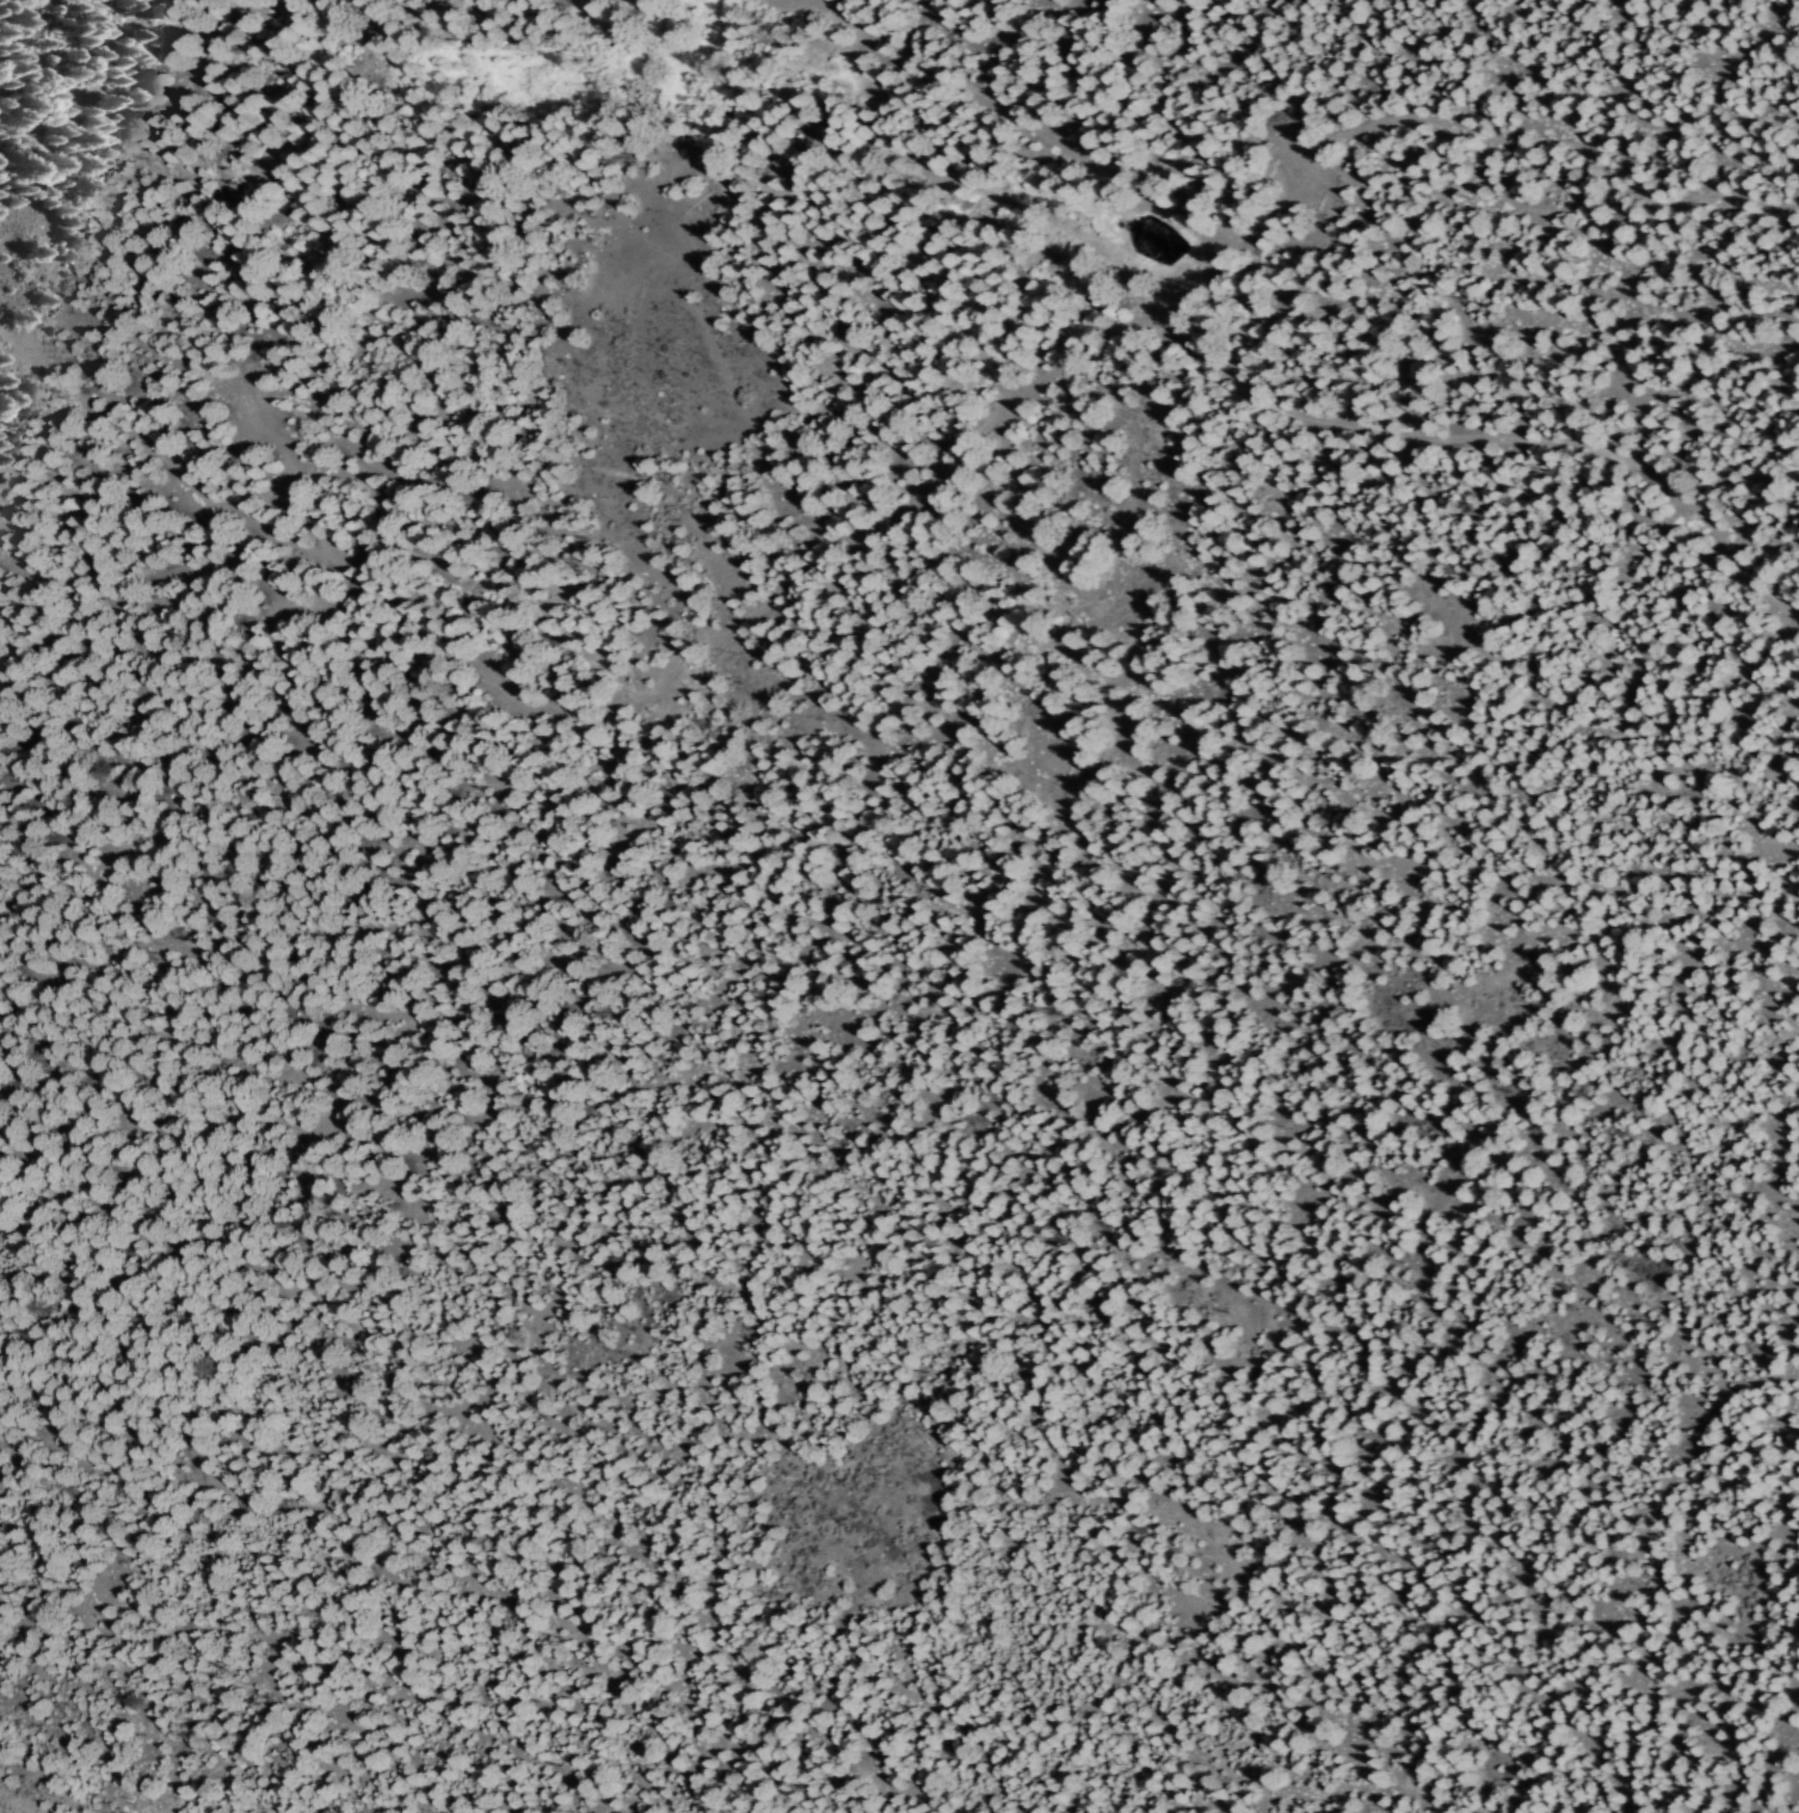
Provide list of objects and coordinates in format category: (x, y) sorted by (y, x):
road: (957, 531)
road: (1726, 594)

